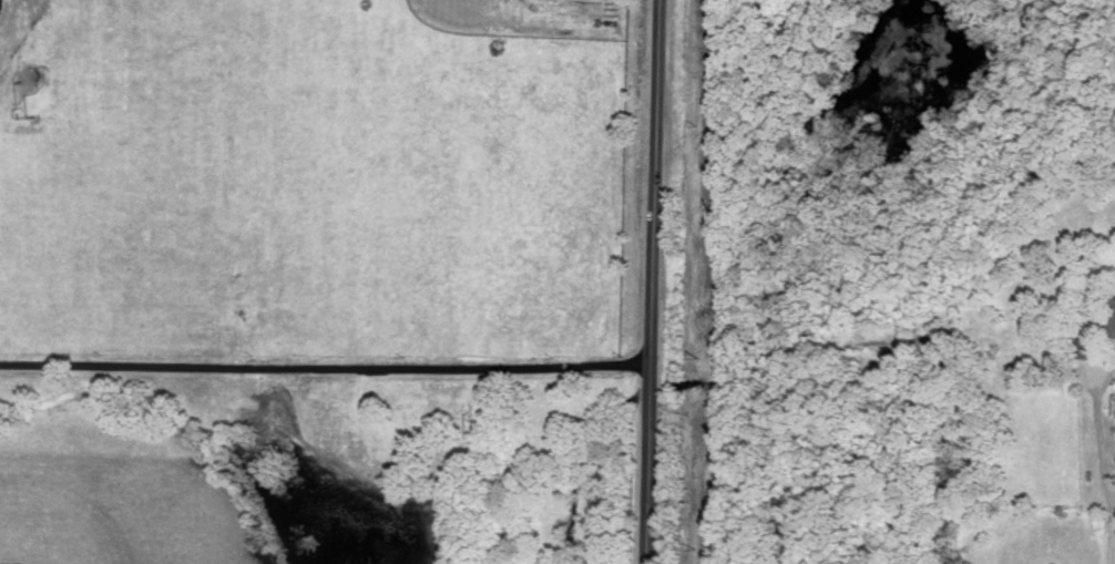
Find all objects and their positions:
road: (653, 281)
building: (1114, 293)
road: (326, 361)
road: (1099, 462)

